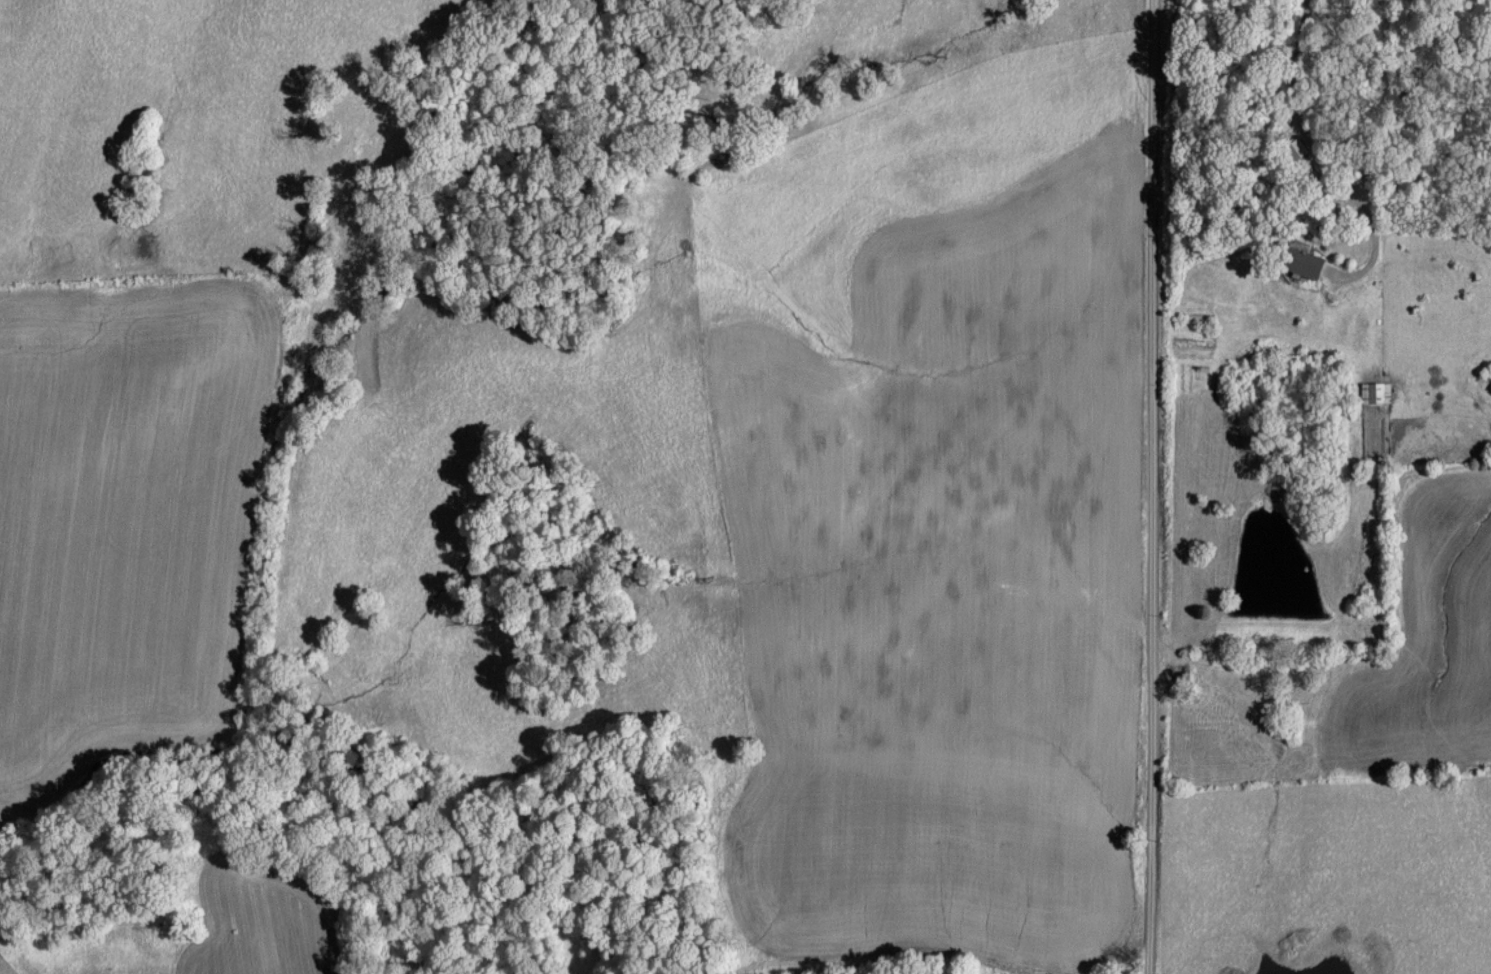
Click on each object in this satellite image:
road: (1315, 146)
building: (1300, 262)
building: (1374, 392)
road: (1149, 486)

